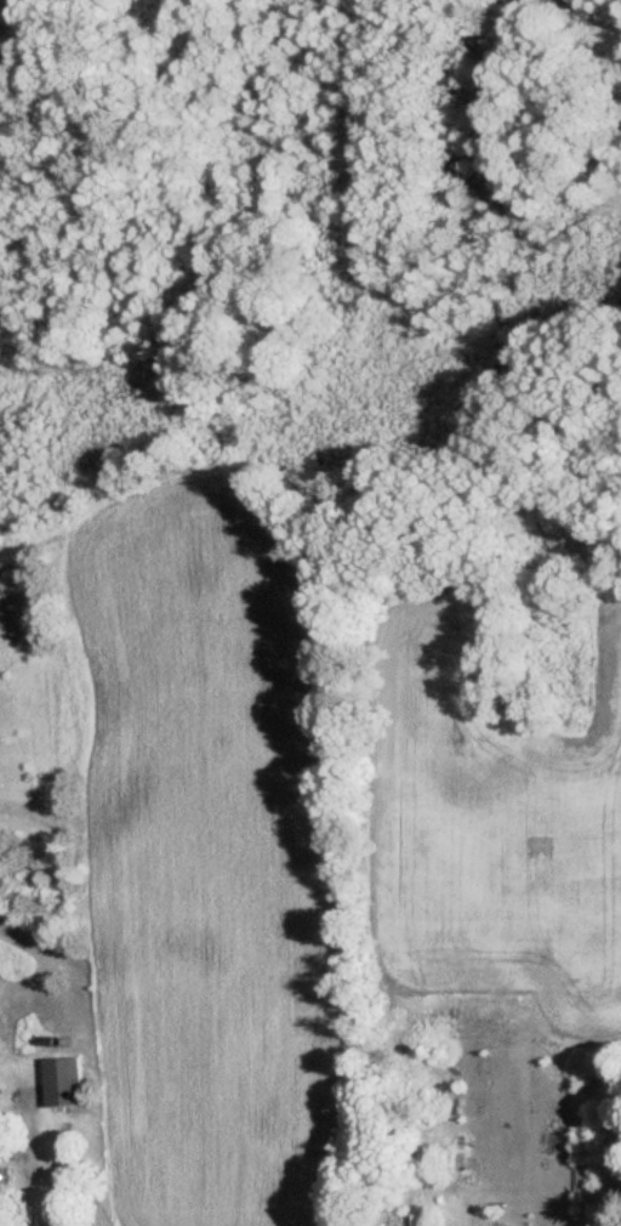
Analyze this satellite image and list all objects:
building: (62, 1082)
road: (27, 1162)

